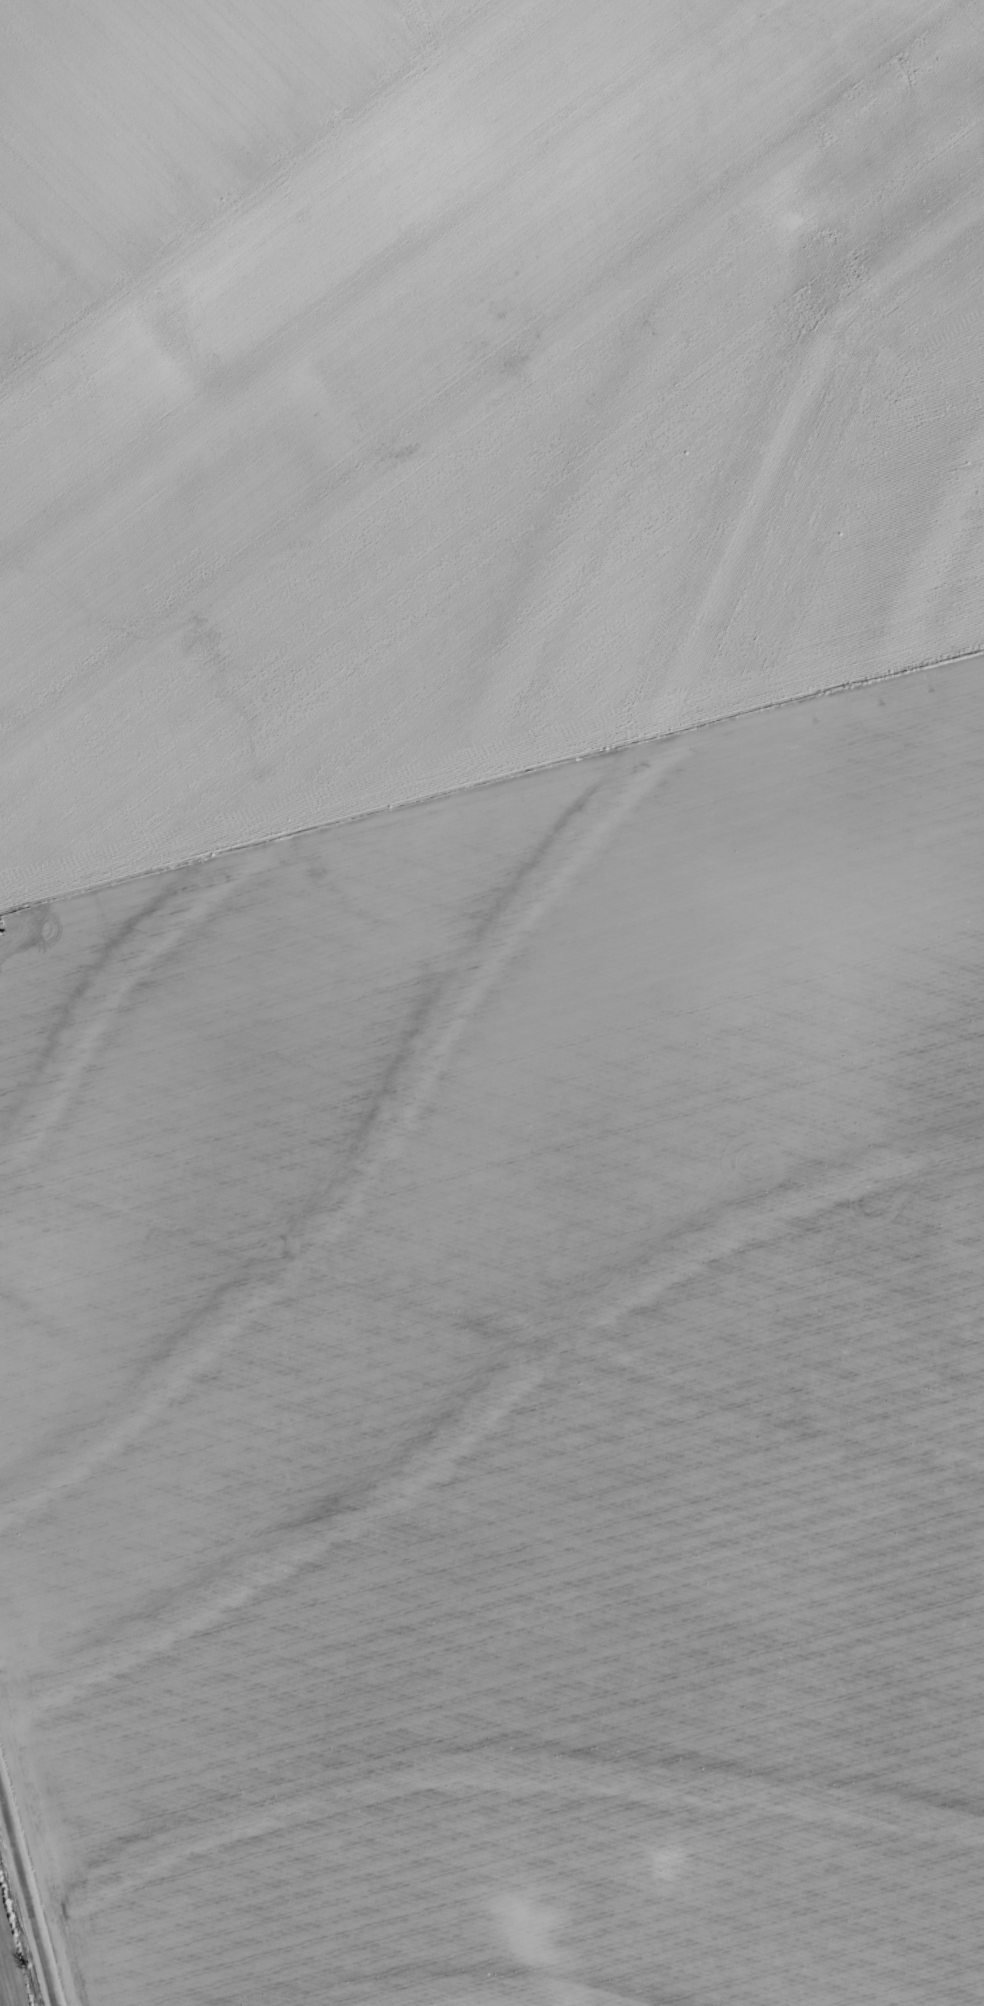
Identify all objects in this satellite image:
road: (25, 1904)

